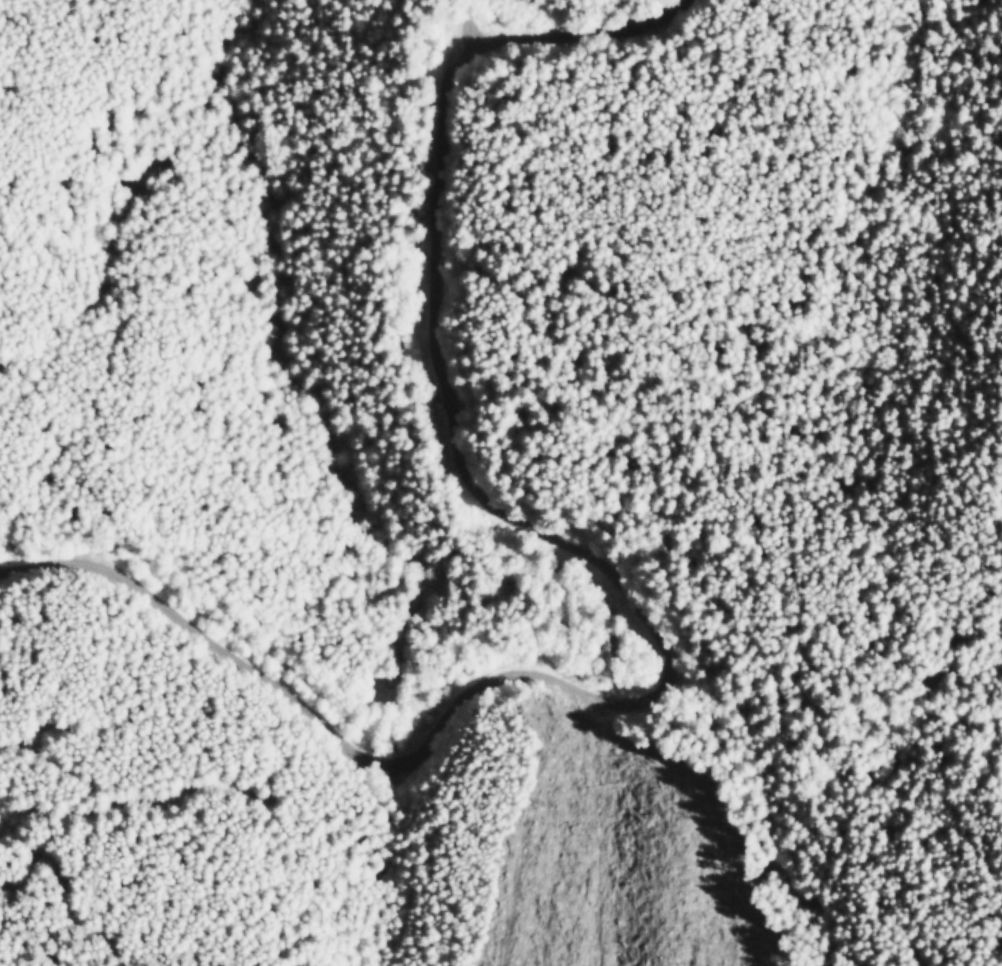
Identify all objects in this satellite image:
road: (643, 600)

